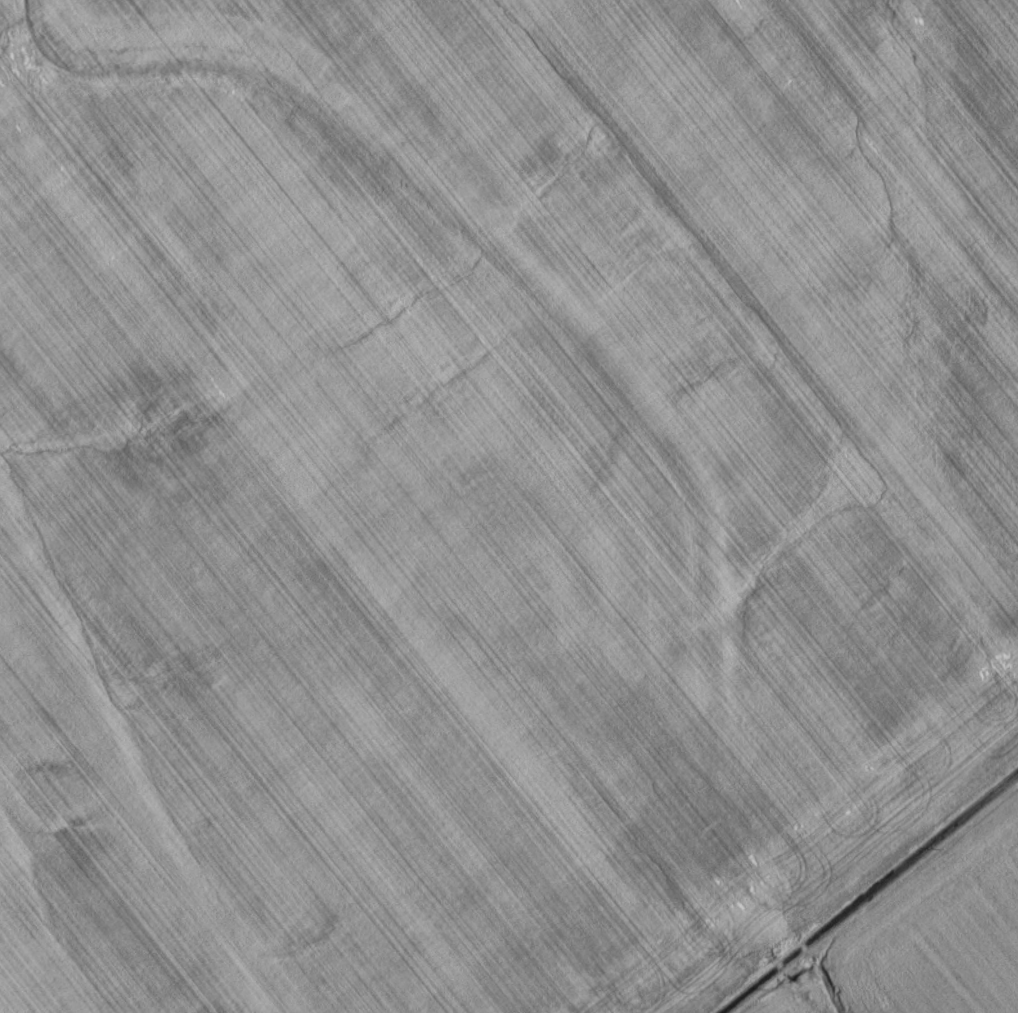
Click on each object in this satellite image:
road: (864, 887)

